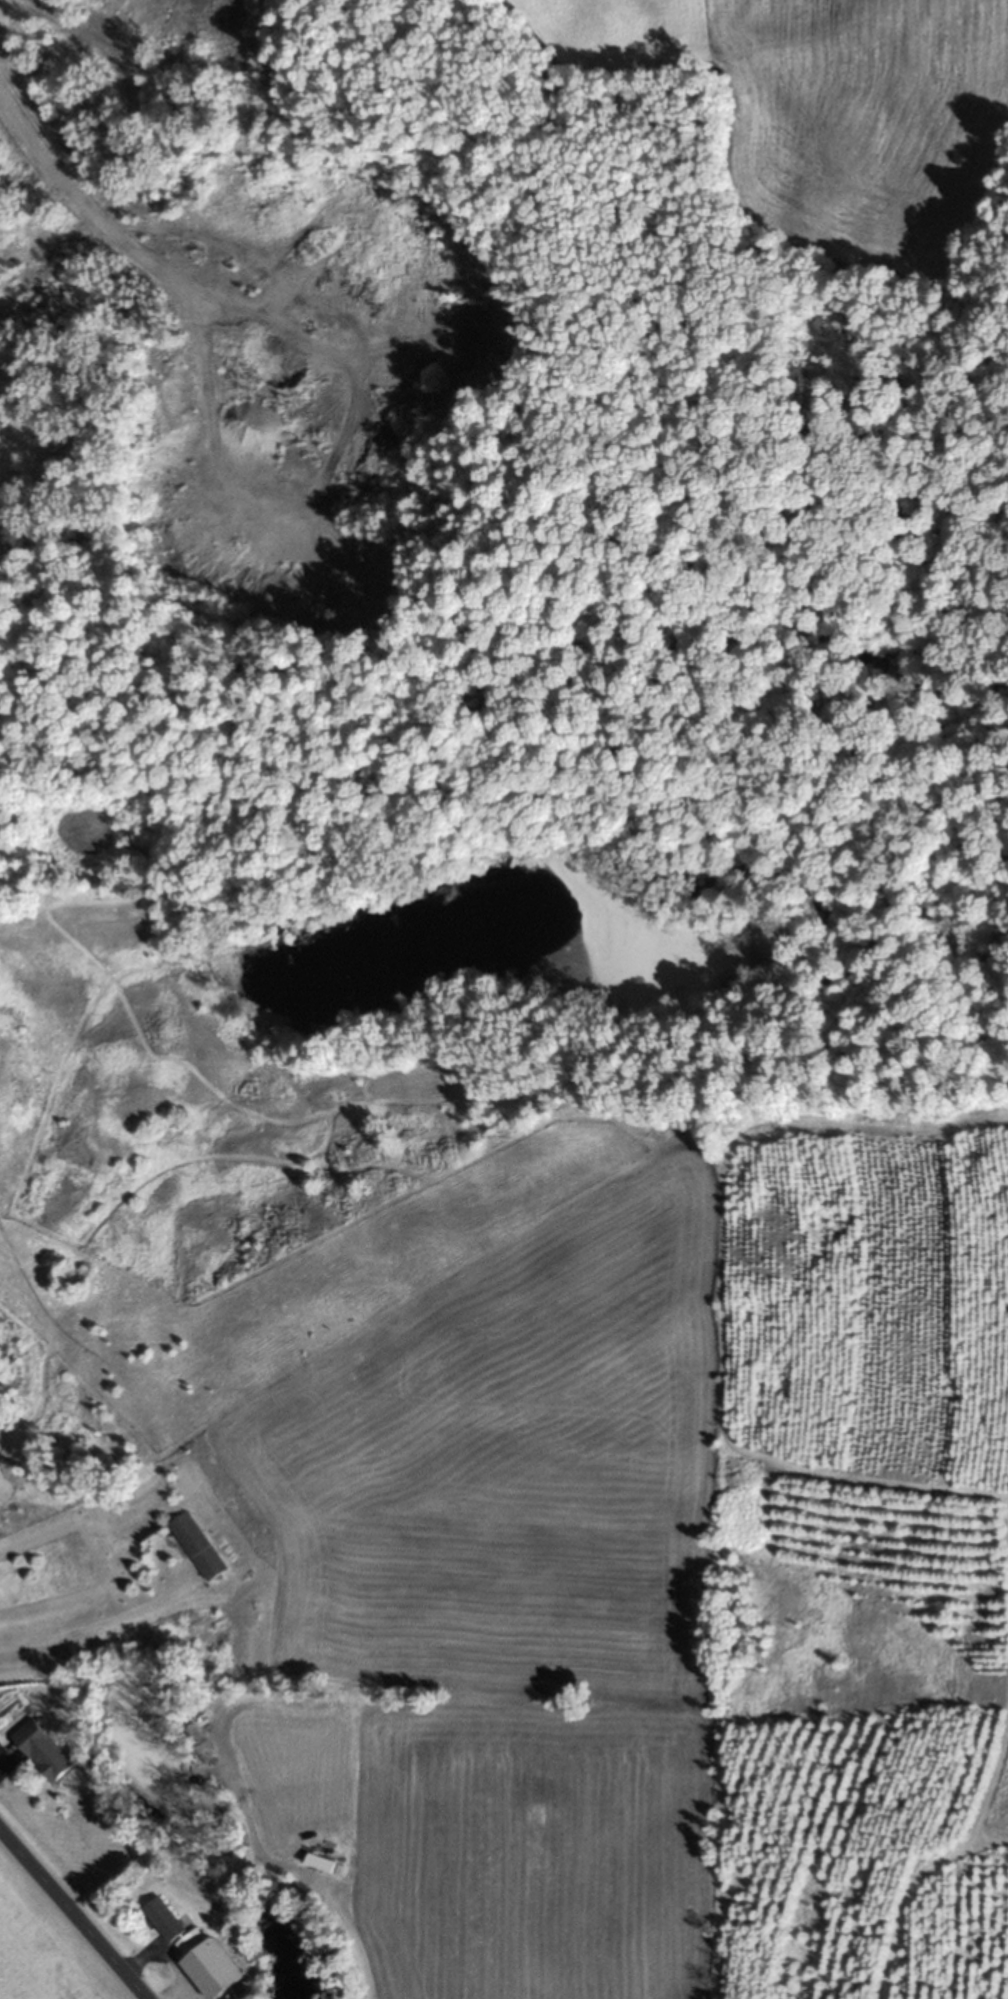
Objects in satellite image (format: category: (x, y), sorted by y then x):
road: (82, 209)
quarry: (300, 399)
building: (194, 1545)
road: (90, 1627)
building: (40, 1750)
road: (2, 1763)
road: (72, 1914)
building: (162, 1919)
building: (191, 1943)
road: (137, 1961)

